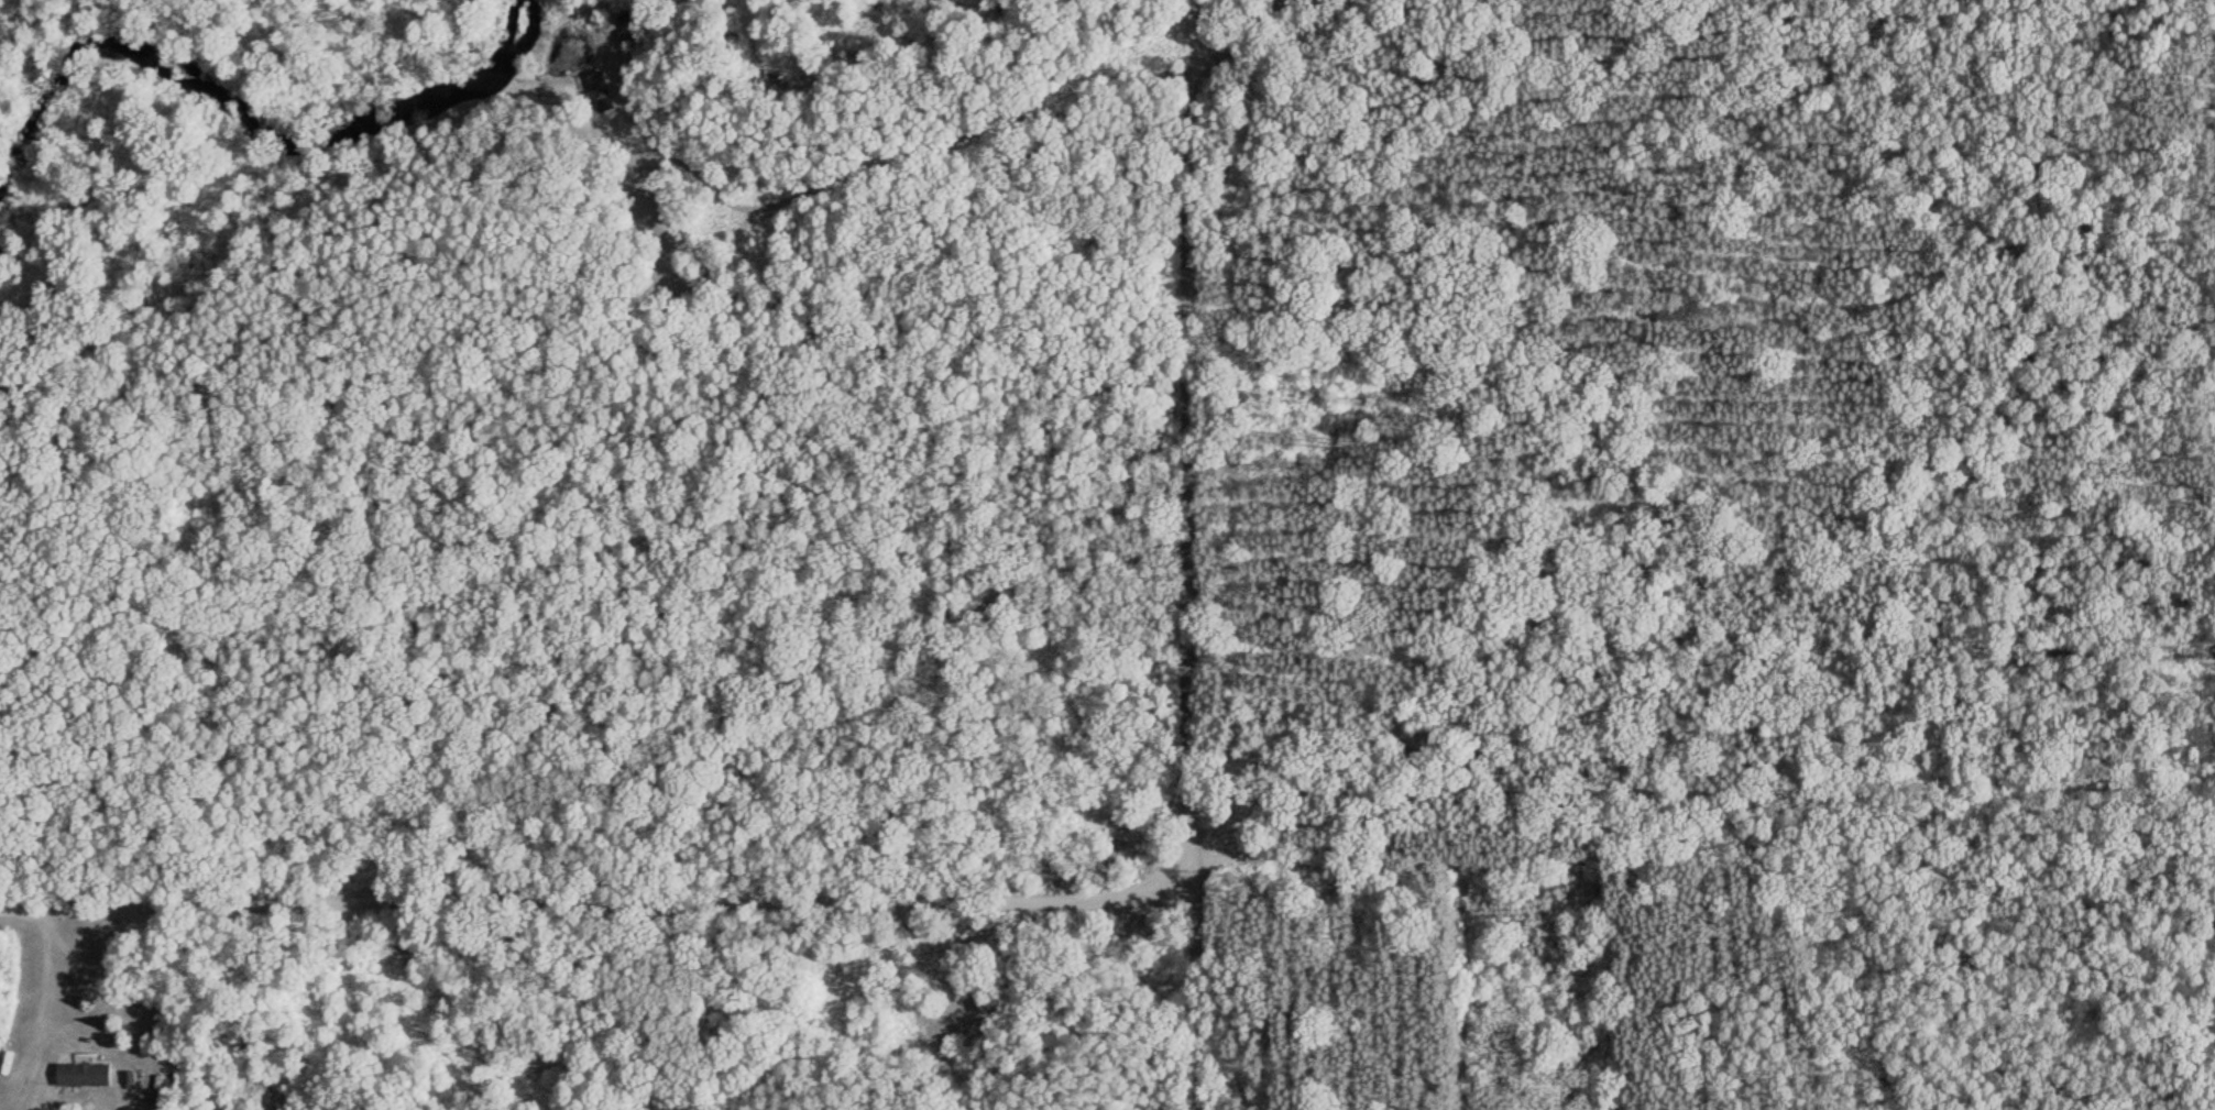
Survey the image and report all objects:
road: (1238, 30)
road: (1177, 554)
road: (595, 901)
building: (79, 1075)

